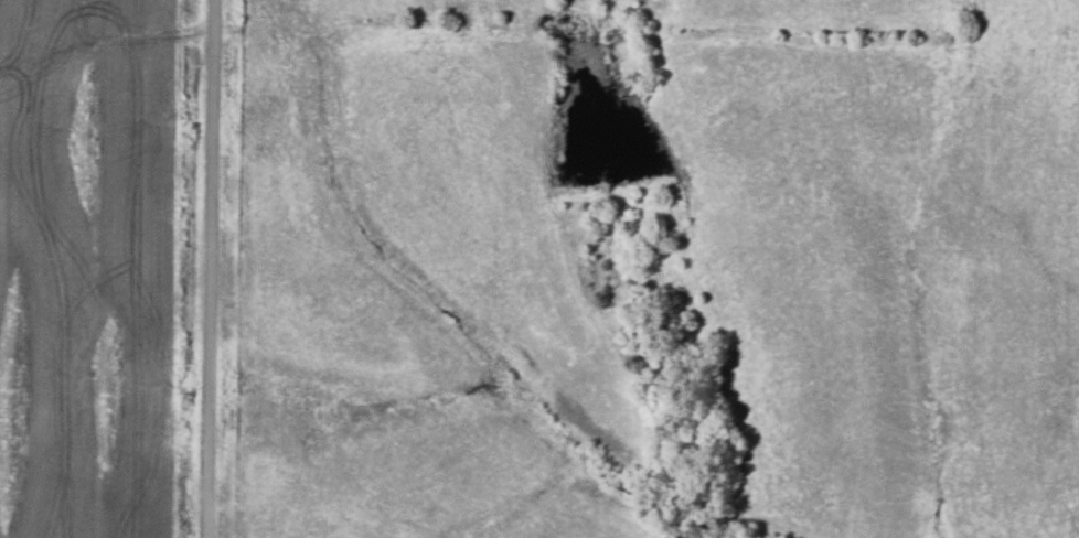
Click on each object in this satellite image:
road: (213, 269)

